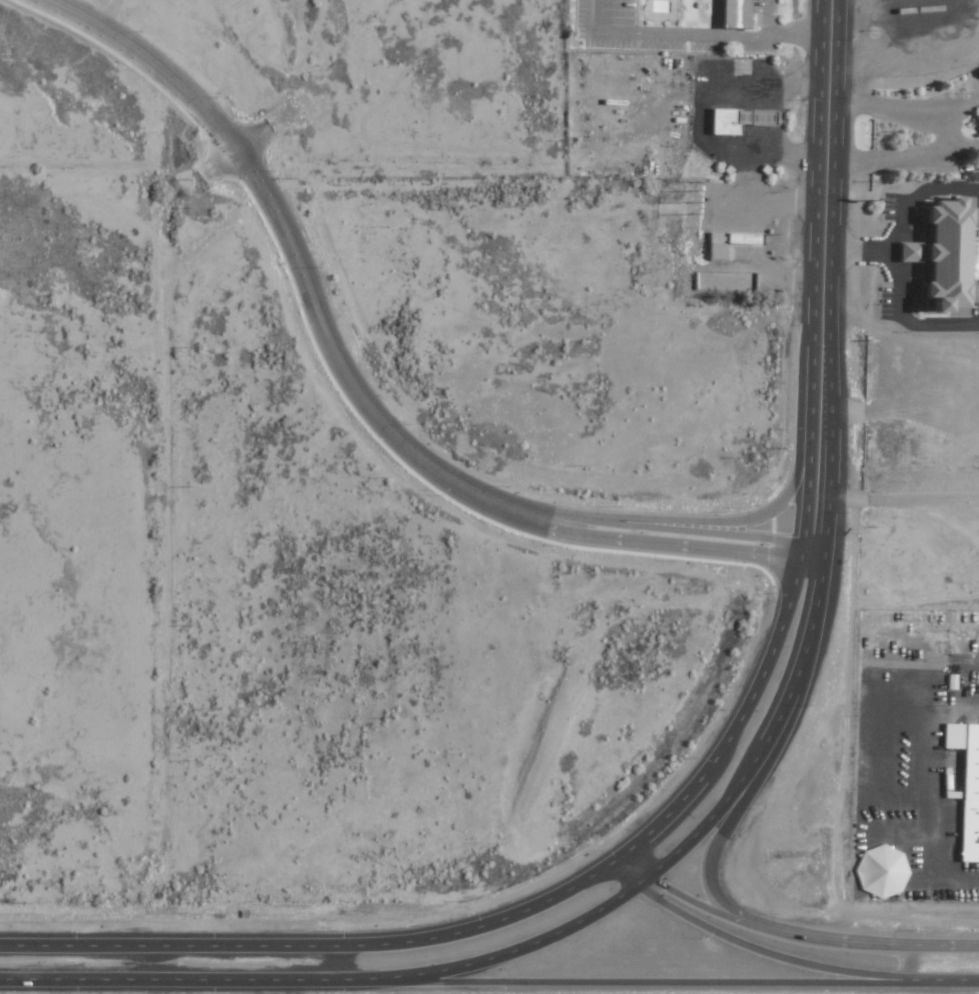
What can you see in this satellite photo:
building: (743, 13)
road: (904, 111)
building: (976, 116)
building: (744, 120)
road: (825, 140)
road: (902, 156)
road: (917, 193)
road: (855, 244)
building: (935, 254)
road: (903, 317)
road: (355, 391)
road: (792, 589)
road: (817, 604)
building: (966, 785)
road: (707, 876)
road: (481, 923)
road: (773, 931)
road: (158, 944)
road: (961, 945)
road: (749, 946)
road: (491, 957)
road: (156, 979)
road: (611, 981)
road: (944, 982)

